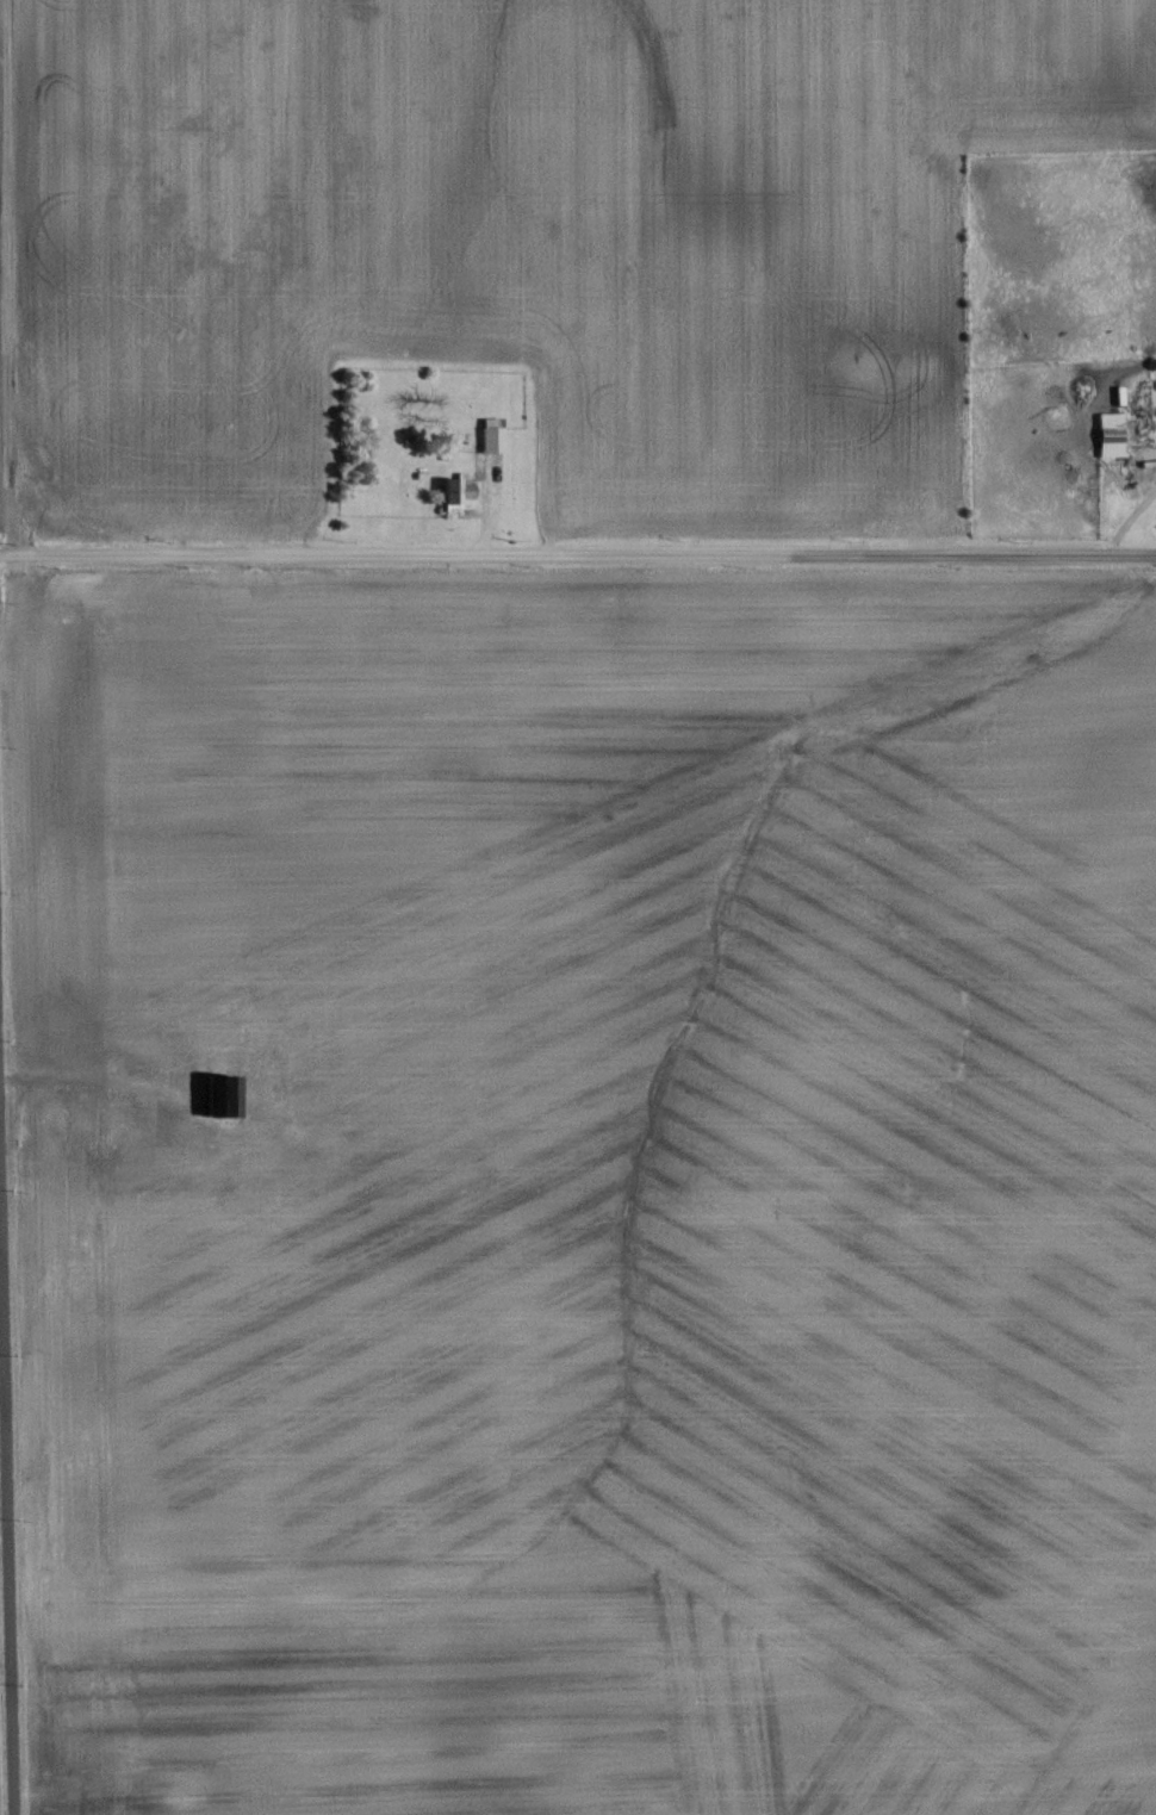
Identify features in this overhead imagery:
building: (1105, 433)
building: (486, 437)
road: (578, 549)
road: (101, 1073)
building: (218, 1095)
road: (6, 1510)

